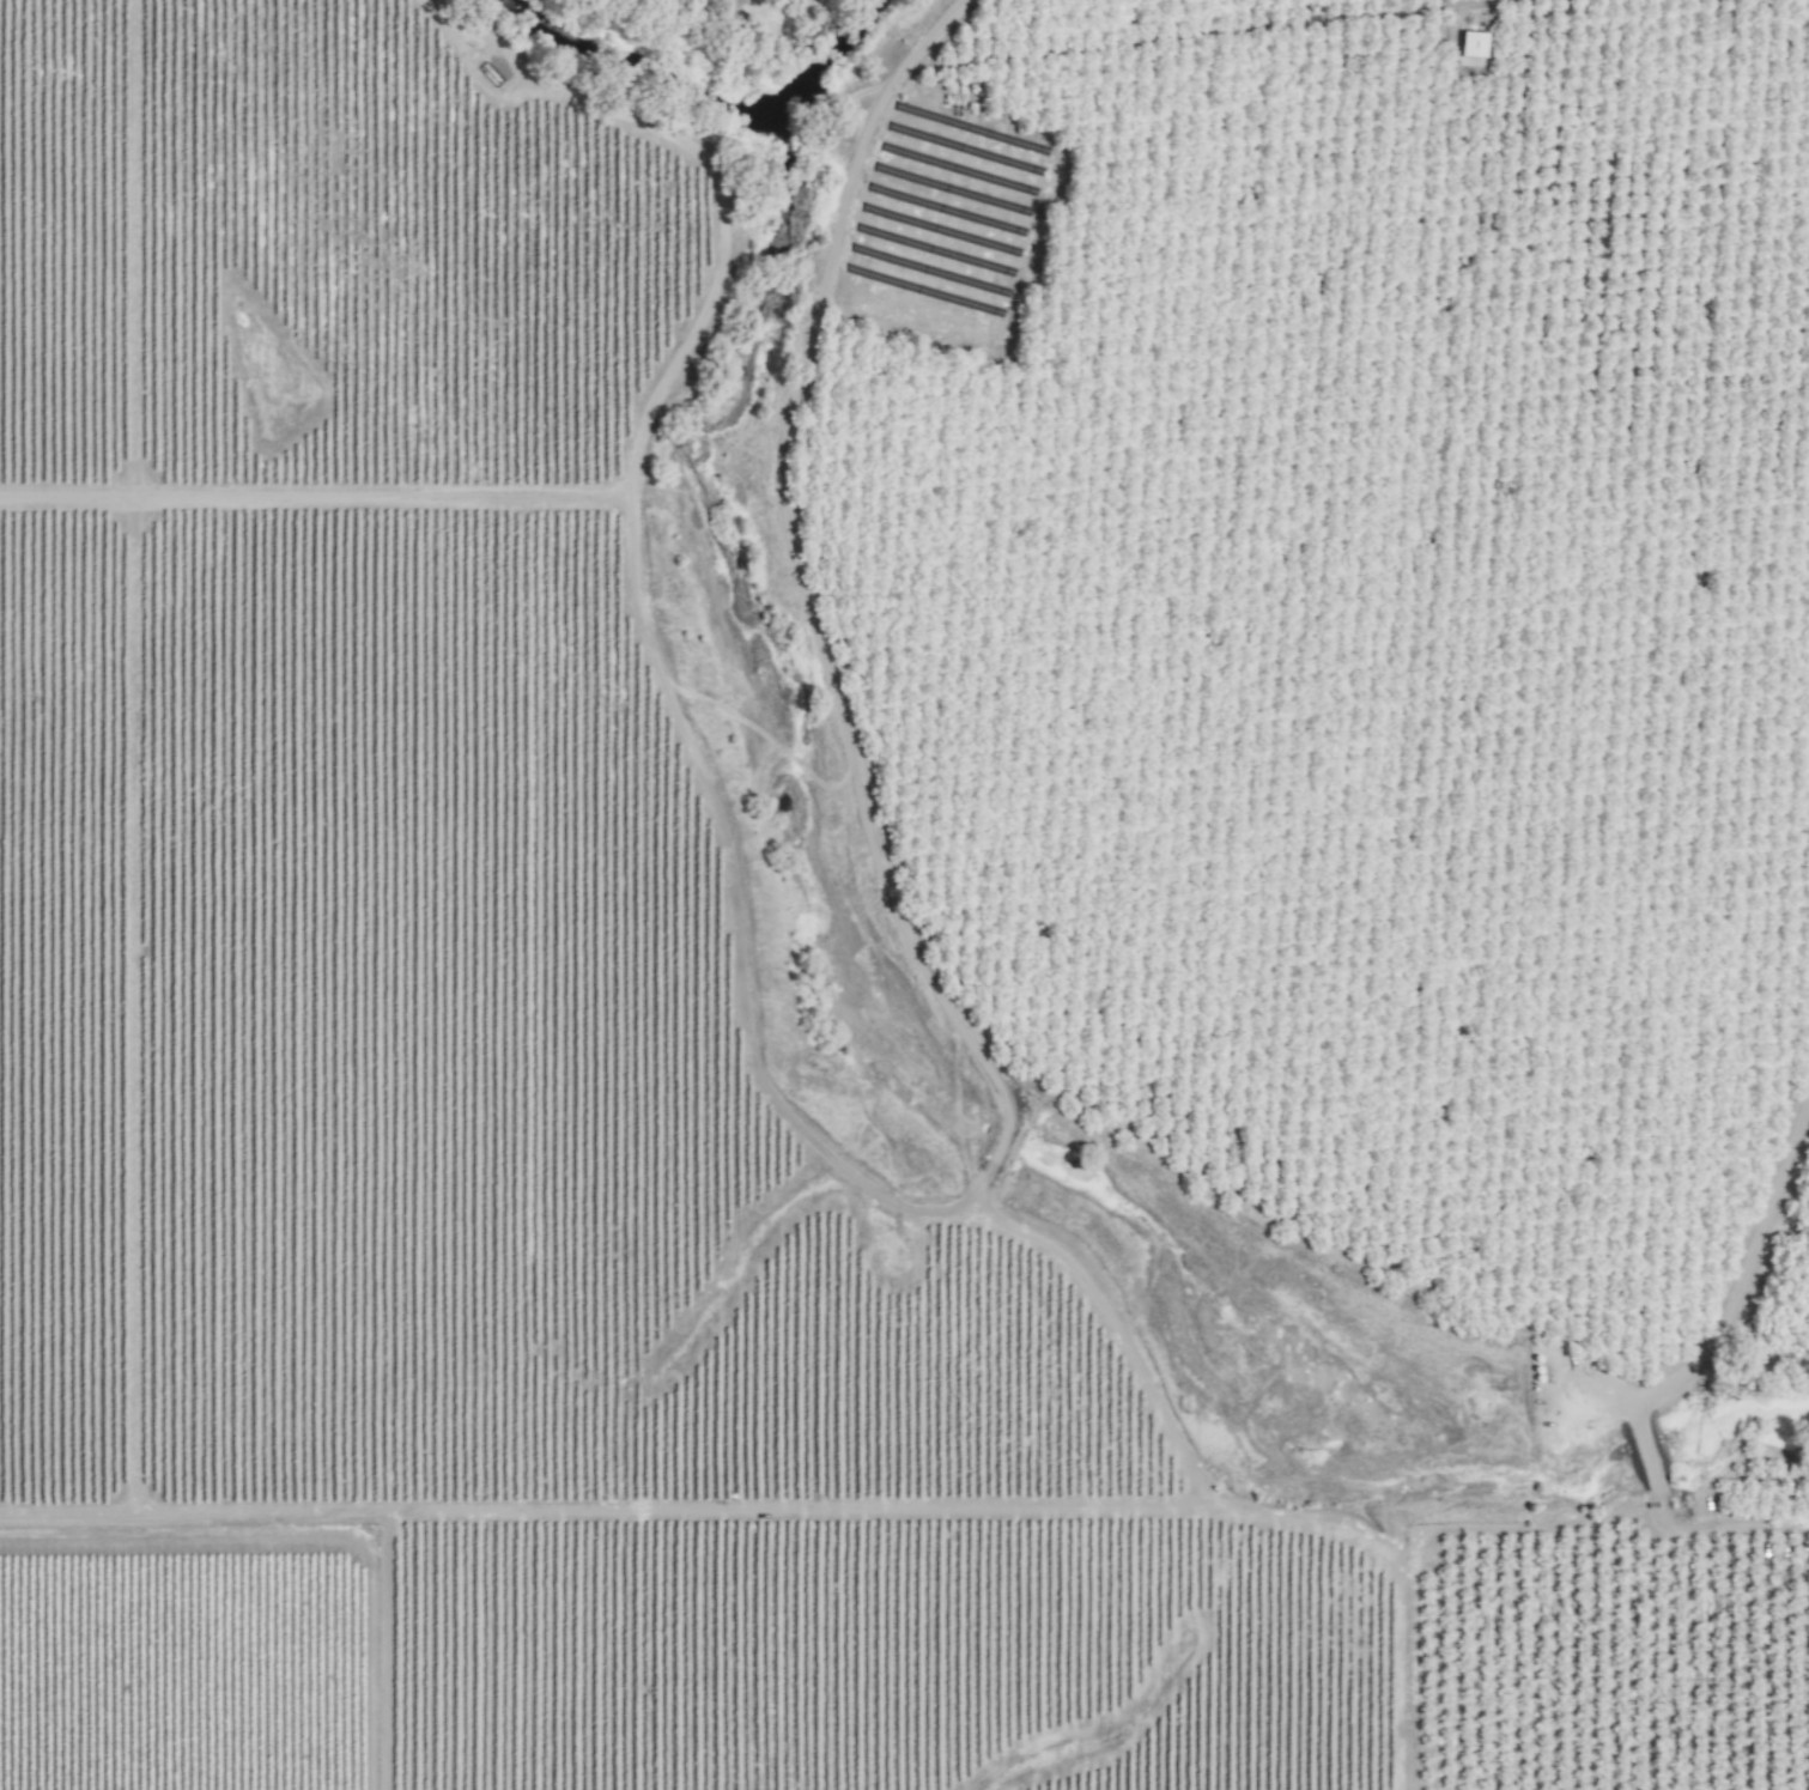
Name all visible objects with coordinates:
building: (1470, 44)

